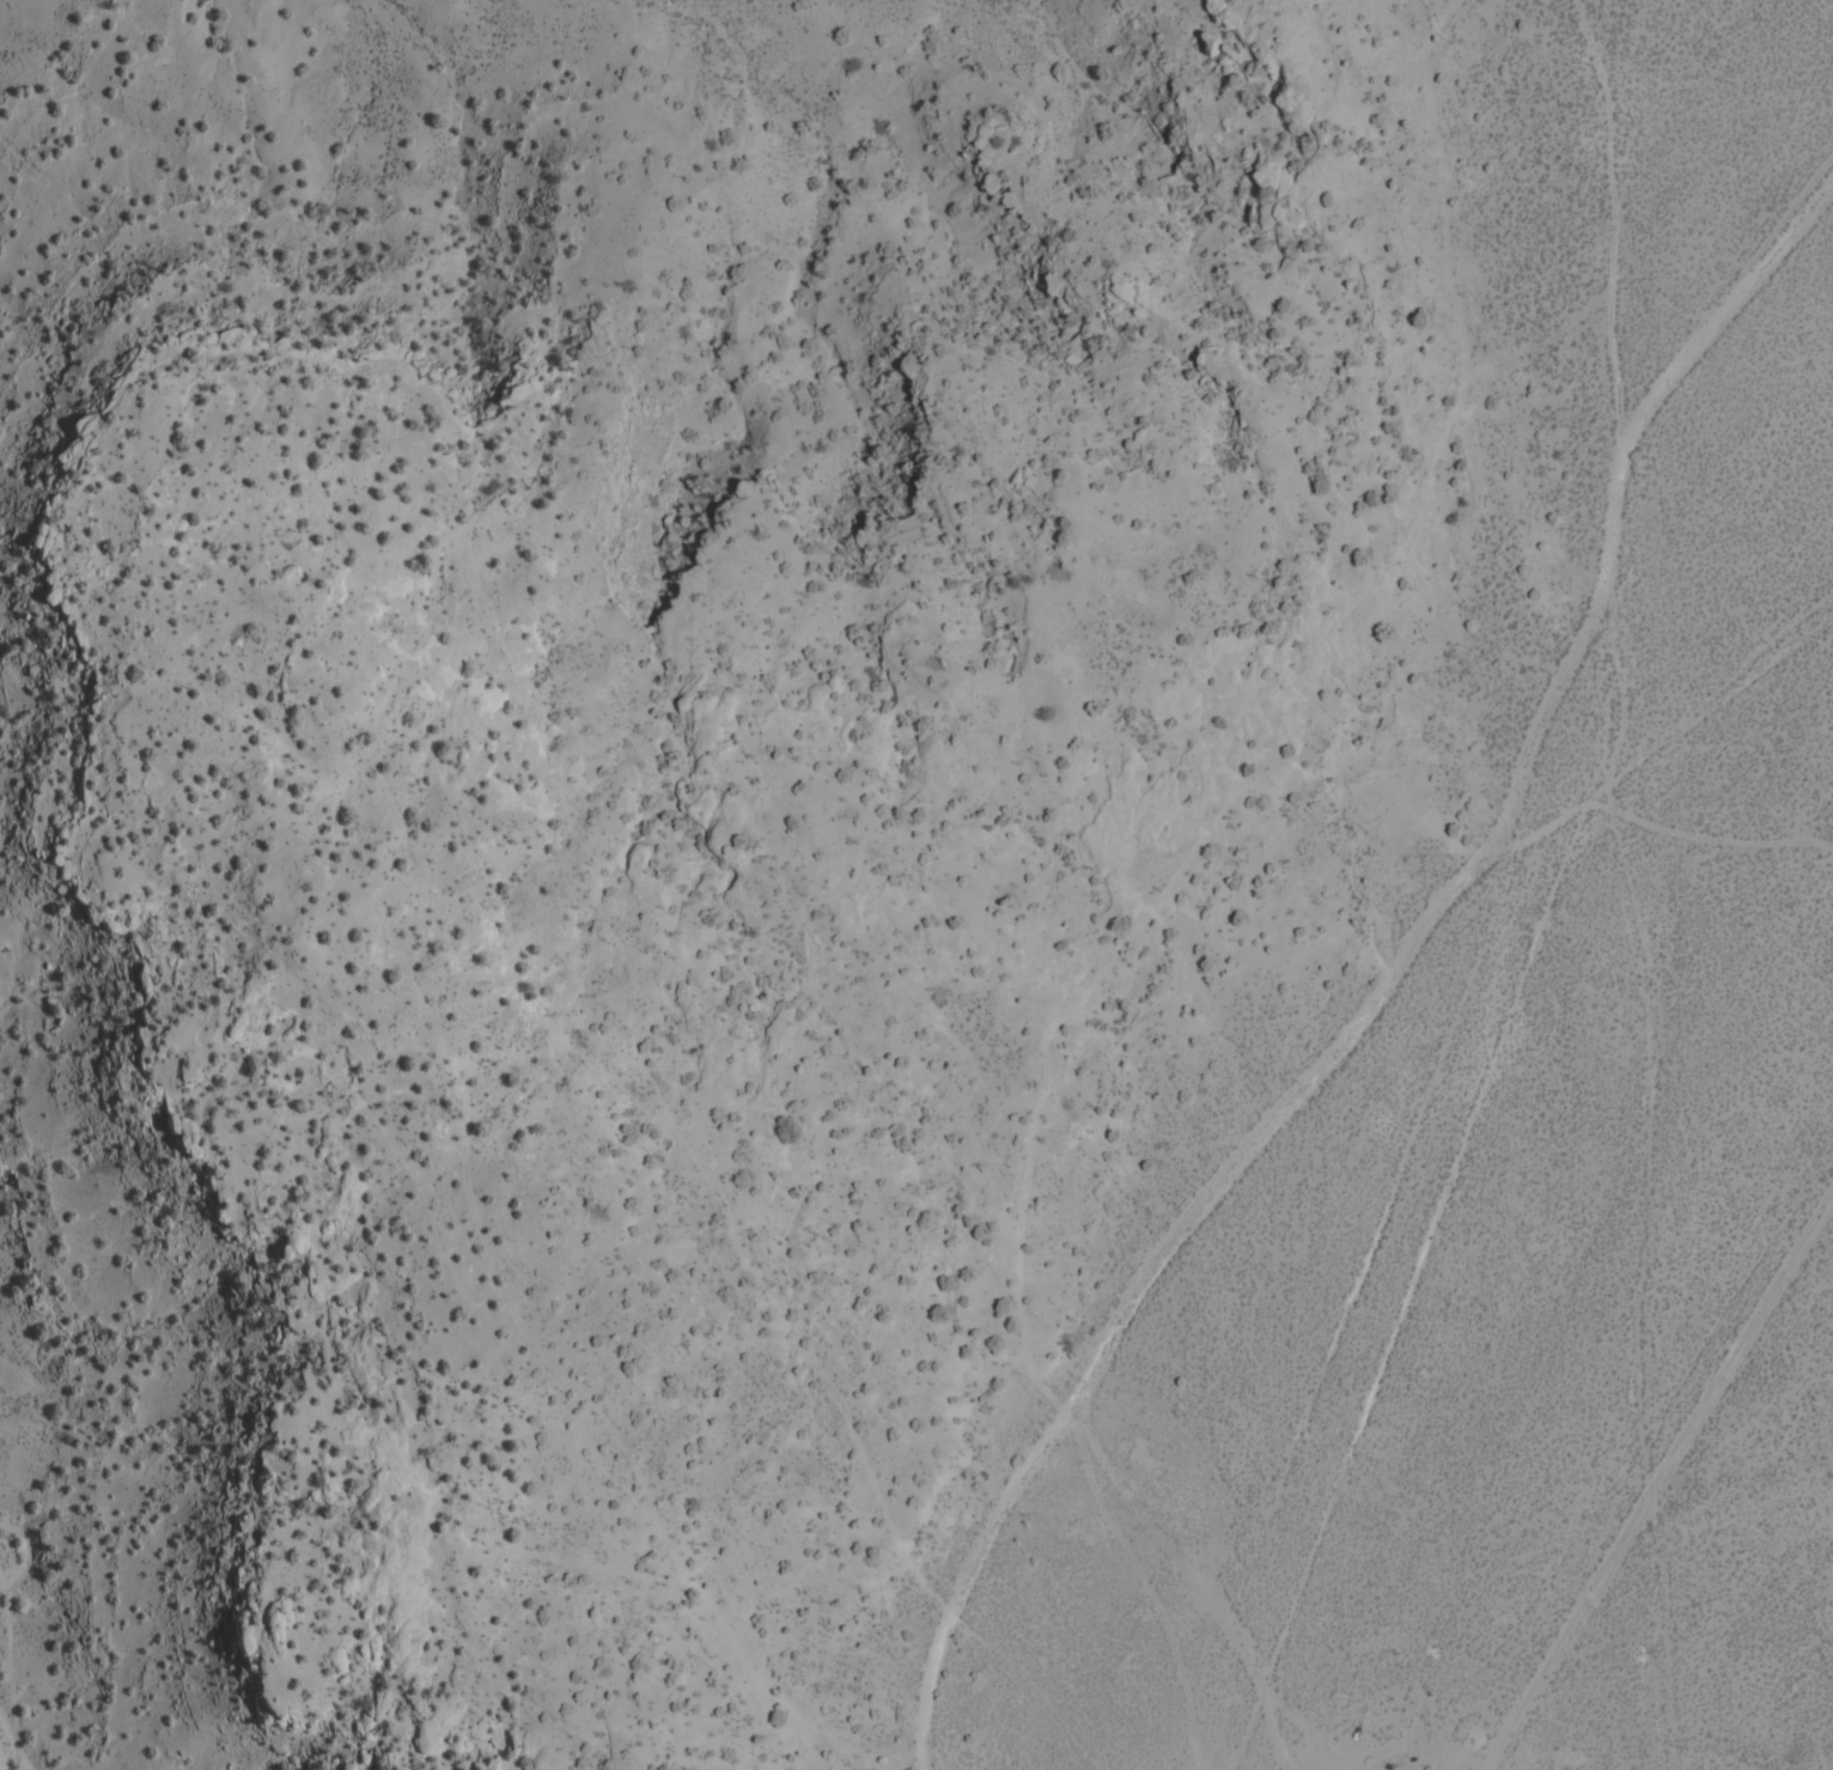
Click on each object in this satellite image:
road: (1381, 913)
road: (1212, 1550)

